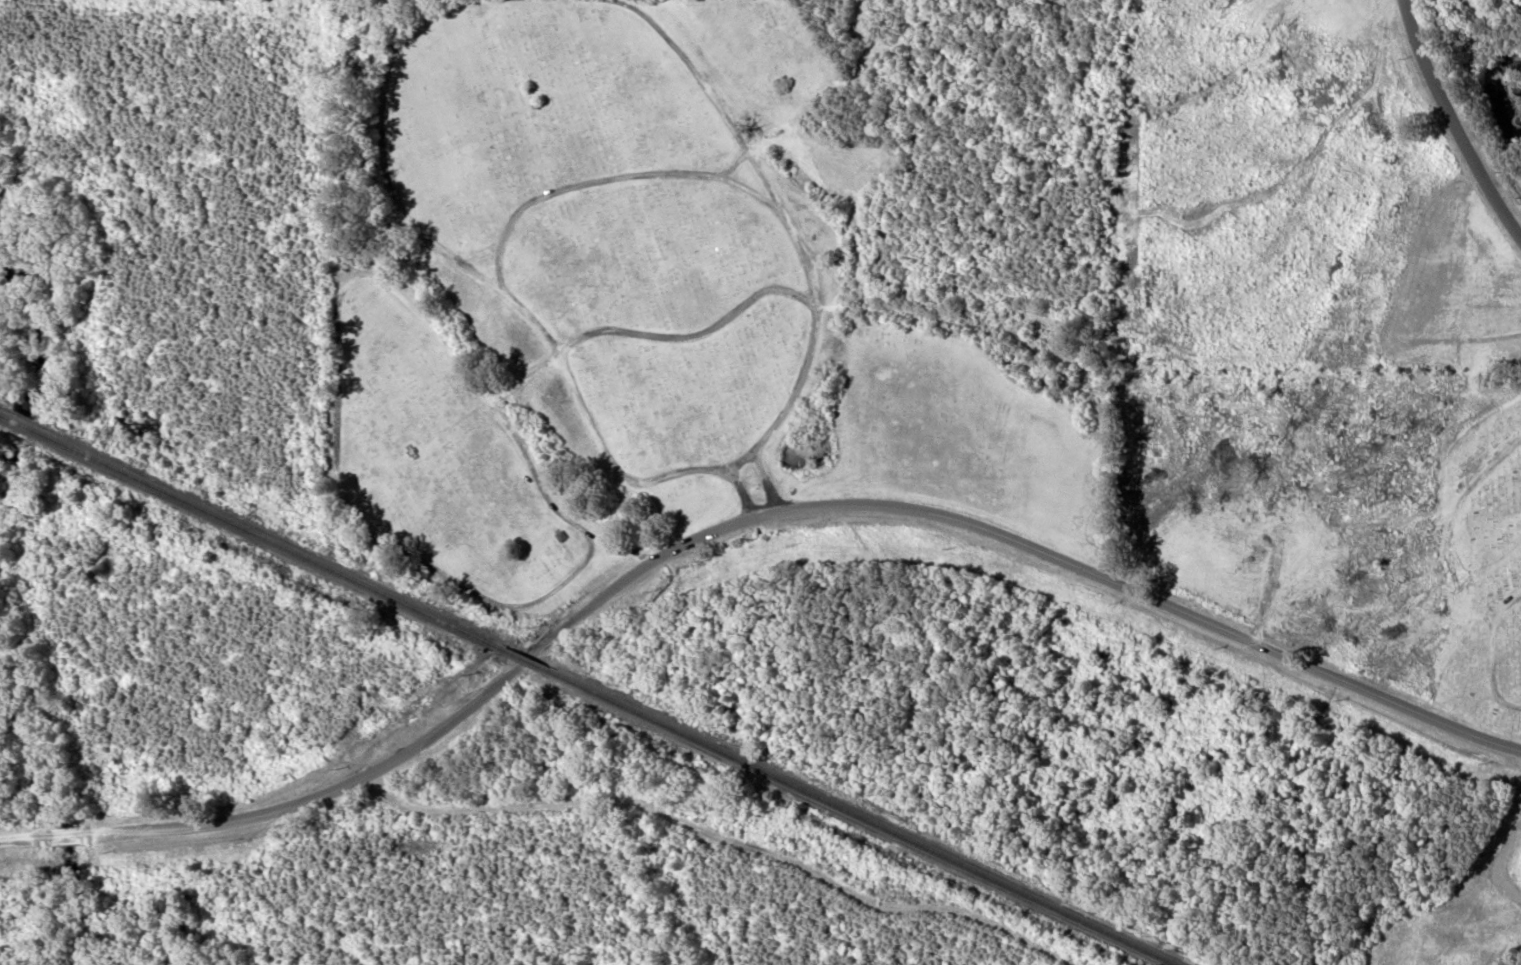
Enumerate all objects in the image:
road: (1450, 118)
road: (596, 179)
road: (798, 234)
road: (517, 304)
road: (654, 333)
road: (514, 435)
road: (329, 491)
road: (741, 517)
railway: (250, 531)
railway: (524, 658)
railway: (863, 817)

